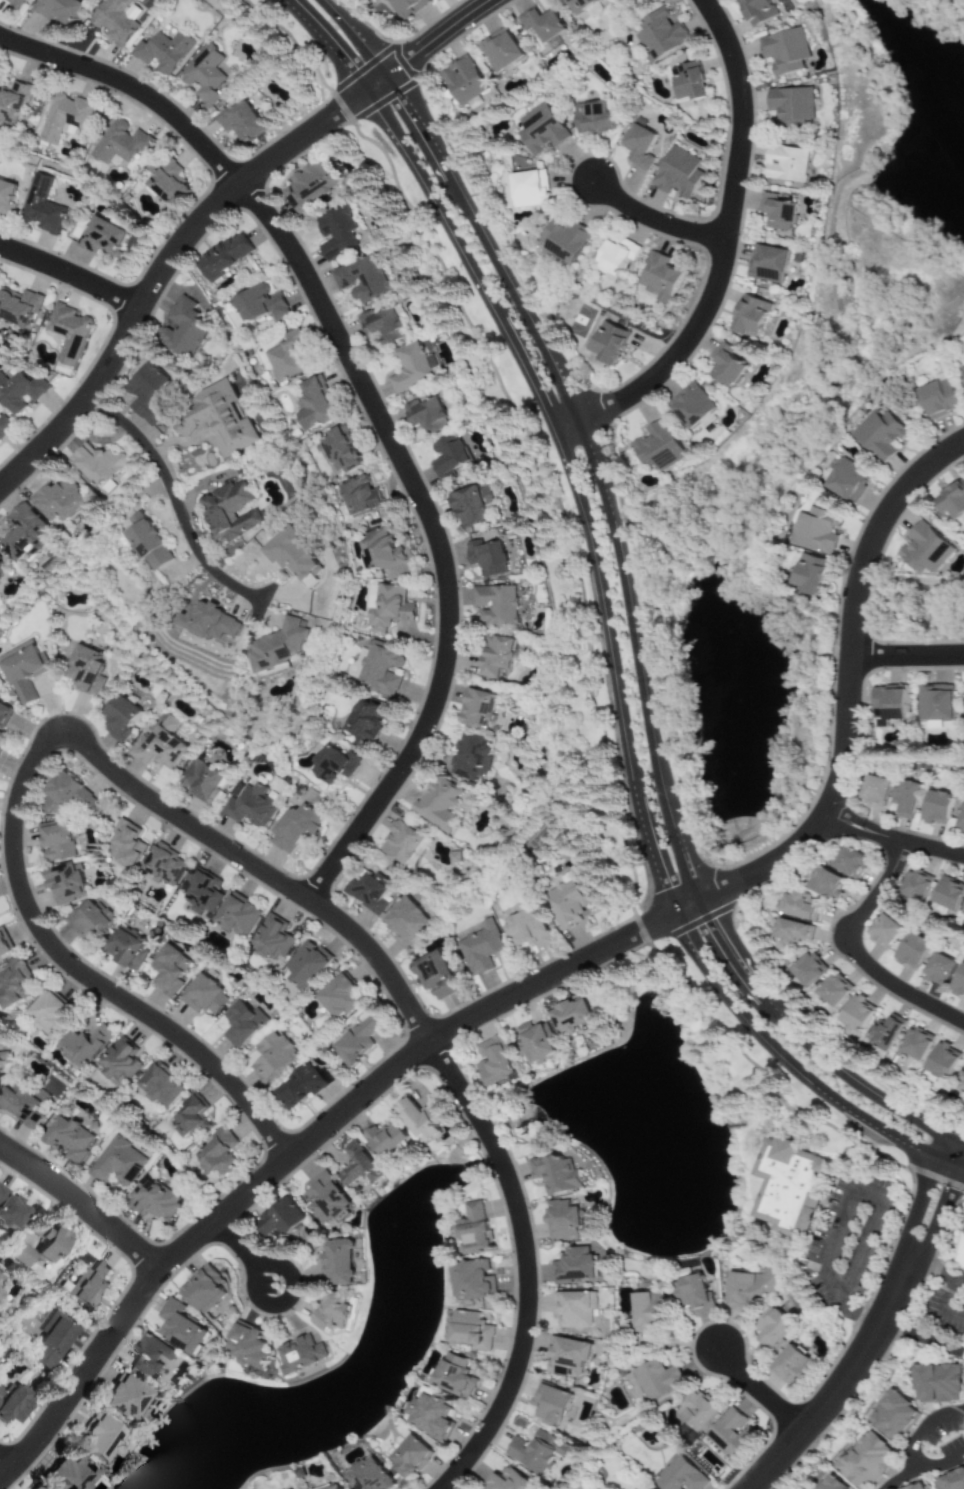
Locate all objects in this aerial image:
building: (12, 2)
building: (581, 5)
building: (406, 7)
building: (58, 11)
building: (758, 11)
building: (112, 20)
building: (660, 35)
road: (359, 36)
road: (328, 44)
road: (431, 46)
building: (500, 50)
building: (785, 51)
building: (164, 52)
building: (203, 76)
building: (463, 80)
building: (689, 82)
building: (12, 104)
building: (792, 107)
building: (63, 118)
building: (593, 118)
building: (239, 124)
building: (541, 130)
building: (120, 142)
building: (639, 146)
building: (787, 164)
building: (680, 173)
building: (166, 185)
building: (309, 186)
building: (5, 195)
building: (41, 209)
building: (777, 212)
road: (657, 222)
road: (365, 229)
building: (337, 232)
building: (98, 238)
building: (565, 241)
road: (317, 245)
road: (726, 253)
building: (221, 257)
building: (617, 258)
road: (309, 263)
building: (767, 264)
road: (162, 273)
road: (72, 277)
building: (660, 278)
building: (359, 280)
building: (256, 306)
building: (17, 308)
building: (750, 315)
building: (382, 325)
building: (184, 327)
building: (67, 334)
building: (609, 343)
building: (284, 358)
building: (726, 365)
building: (407, 368)
building: (963, 370)
building: (19, 393)
building: (151, 395)
building: (939, 399)
building: (312, 406)
building: (692, 406)
road: (373, 408)
building: (429, 418)
building: (217, 420)
building: (4, 426)
building: (880, 435)
building: (659, 446)
building: (337, 452)
building: (448, 456)
building: (97, 464)
building: (847, 482)
building: (359, 498)
building: (952, 500)
building: (54, 501)
road: (177, 504)
building: (471, 506)
building: (232, 512)
building: (814, 530)
building: (20, 533)
building: (146, 546)
building: (924, 549)
building: (378, 550)
building: (295, 555)
building: (486, 558)
building: (0, 565)
building: (811, 574)
building: (494, 606)
building: (386, 607)
building: (210, 624)
road: (639, 645)
building: (278, 646)
building: (494, 656)
road: (908, 658)
building: (378, 669)
building: (83, 670)
building: (22, 673)
road: (616, 677)
building: (935, 702)
building: (889, 705)
building: (475, 710)
building: (3, 715)
building: (119, 719)
building: (361, 723)
building: (159, 745)
building: (0, 751)
building: (466, 758)
road: (38, 760)
building: (331, 765)
building: (200, 782)
building: (874, 790)
building: (64, 796)
building: (905, 798)
building: (251, 805)
building: (435, 805)
building: (936, 808)
building: (961, 819)
building: (294, 828)
road: (895, 840)
building: (55, 843)
building: (402, 846)
building: (126, 847)
building: (453, 857)
building: (848, 864)
building: (161, 868)
building: (826, 885)
building: (63, 886)
building: (914, 887)
building: (202, 893)
building: (368, 893)
building: (947, 894)
building: (567, 903)
building: (799, 907)
building: (963, 915)
building: (235, 917)
building: (89, 923)
building: (403, 924)
building: (523, 929)
building: (883, 932)
building: (793, 933)
building: (272, 940)
building: (3, 949)
building: (479, 949)
building: (124, 950)
road: (859, 951)
building: (911, 952)
building: (303, 967)
building: (166, 970)
building: (937, 970)
building: (806, 971)
building: (432, 974)
building: (958, 982)
road: (543, 983)
building: (12, 986)
building: (832, 993)
building: (203, 997)
building: (338, 999)
building: (48, 1015)
building: (856, 1015)
building: (568, 1017)
building: (239, 1024)
building: (887, 1032)
building: (356, 1041)
building: (84, 1046)
building: (534, 1046)
building: (914, 1046)
building: (270, 1057)
building: (1, 1061)
building: (120, 1062)
building: (492, 1062)
building: (942, 1063)
building: (961, 1083)
building: (157, 1088)
building: (296, 1089)
building: (19, 1107)
building: (189, 1119)
building: (417, 1120)
building: (66, 1137)
building: (384, 1139)
building: (217, 1157)
building: (115, 1163)
building: (357, 1167)
building: (554, 1173)
building: (787, 1186)
road: (865, 1193)
building: (152, 1200)
building: (325, 1201)
road: (82, 1206)
building: (9, 1210)
building: (284, 1218)
building: (561, 1219)
building: (473, 1228)
building: (34, 1245)
road: (247, 1254)
building: (961, 1254)
building: (337, 1262)
building: (573, 1265)
road: (526, 1267)
road: (938, 1273)
building: (0, 1277)
building: (471, 1280)
building: (89, 1285)
building: (203, 1287)
building: (746, 1288)
building: (690, 1293)
road: (941, 1307)
building: (572, 1310)
building: (646, 1311)
building: (333, 1313)
road: (860, 1315)
building: (769, 1327)
road: (880, 1328)
building: (180, 1329)
building: (468, 1330)
road: (923, 1340)
building: (47, 1345)
building: (244, 1346)
building: (300, 1353)
building: (148, 1356)
building: (565, 1358)
building: (790, 1367)
building: (451, 1377)
building: (654, 1379)
building: (936, 1383)
road: (760, 1394)
building: (119, 1398)
building: (12, 1405)
building: (550, 1405)
building: (693, 1411)
building: (428, 1416)
building: (893, 1416)
road: (923, 1432)
building: (729, 1435)
building: (96, 1440)
building: (530, 1453)
building: (407, 1457)
building: (865, 1461)
road: (7, 1464)
road: (936, 1468)
building: (64, 1474)
building: (366, 1475)
building: (678, 1476)
building: (951, 1480)
building: (506, 1481)
road: (898, 1482)
building: (830, 1484)
building: (917, 1486)
building: (332, 1487)
building: (34, 1488)

